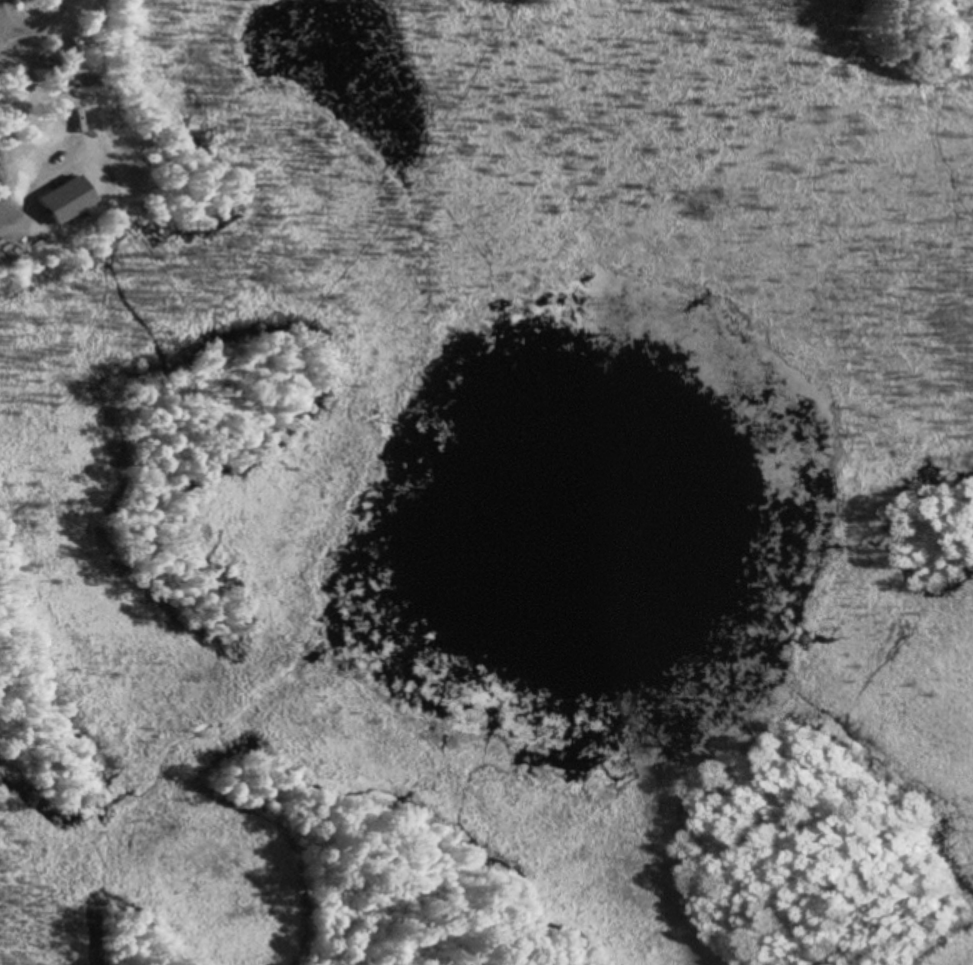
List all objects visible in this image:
road: (5, 26)
road: (38, 31)
building: (48, 69)

